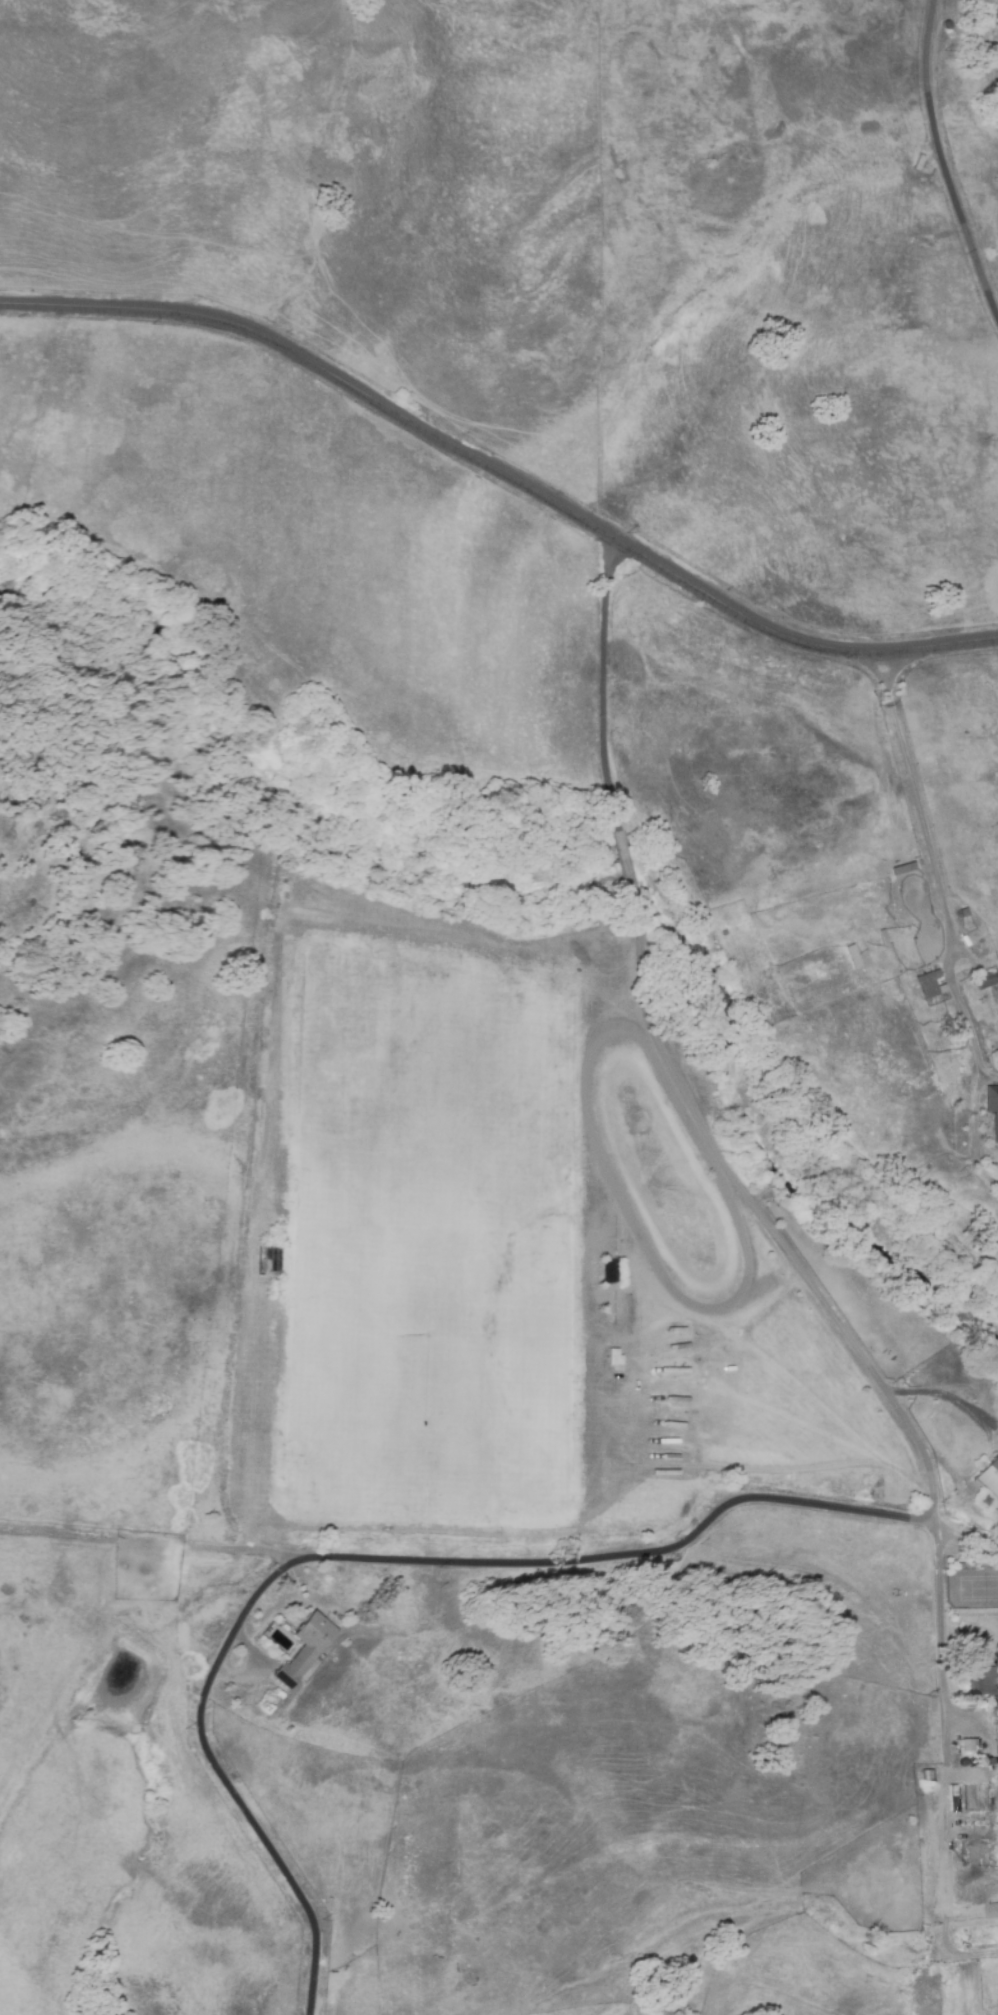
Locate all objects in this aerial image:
road: (944, 156)
road: (502, 474)
road: (601, 696)
road: (930, 860)
road: (625, 875)
building: (885, 937)
building: (936, 965)
building: (988, 980)
building: (931, 986)
building: (993, 1109)
road: (761, 1214)
park: (433, 1236)
building: (987, 1486)
road: (615, 1556)
park: (972, 1590)
building: (304, 1650)
building: (985, 1686)
building: (965, 1749)
road: (945, 1763)
road: (221, 1782)
building: (995, 1793)
building: (971, 1804)
building: (973, 1851)
building: (992, 1910)

